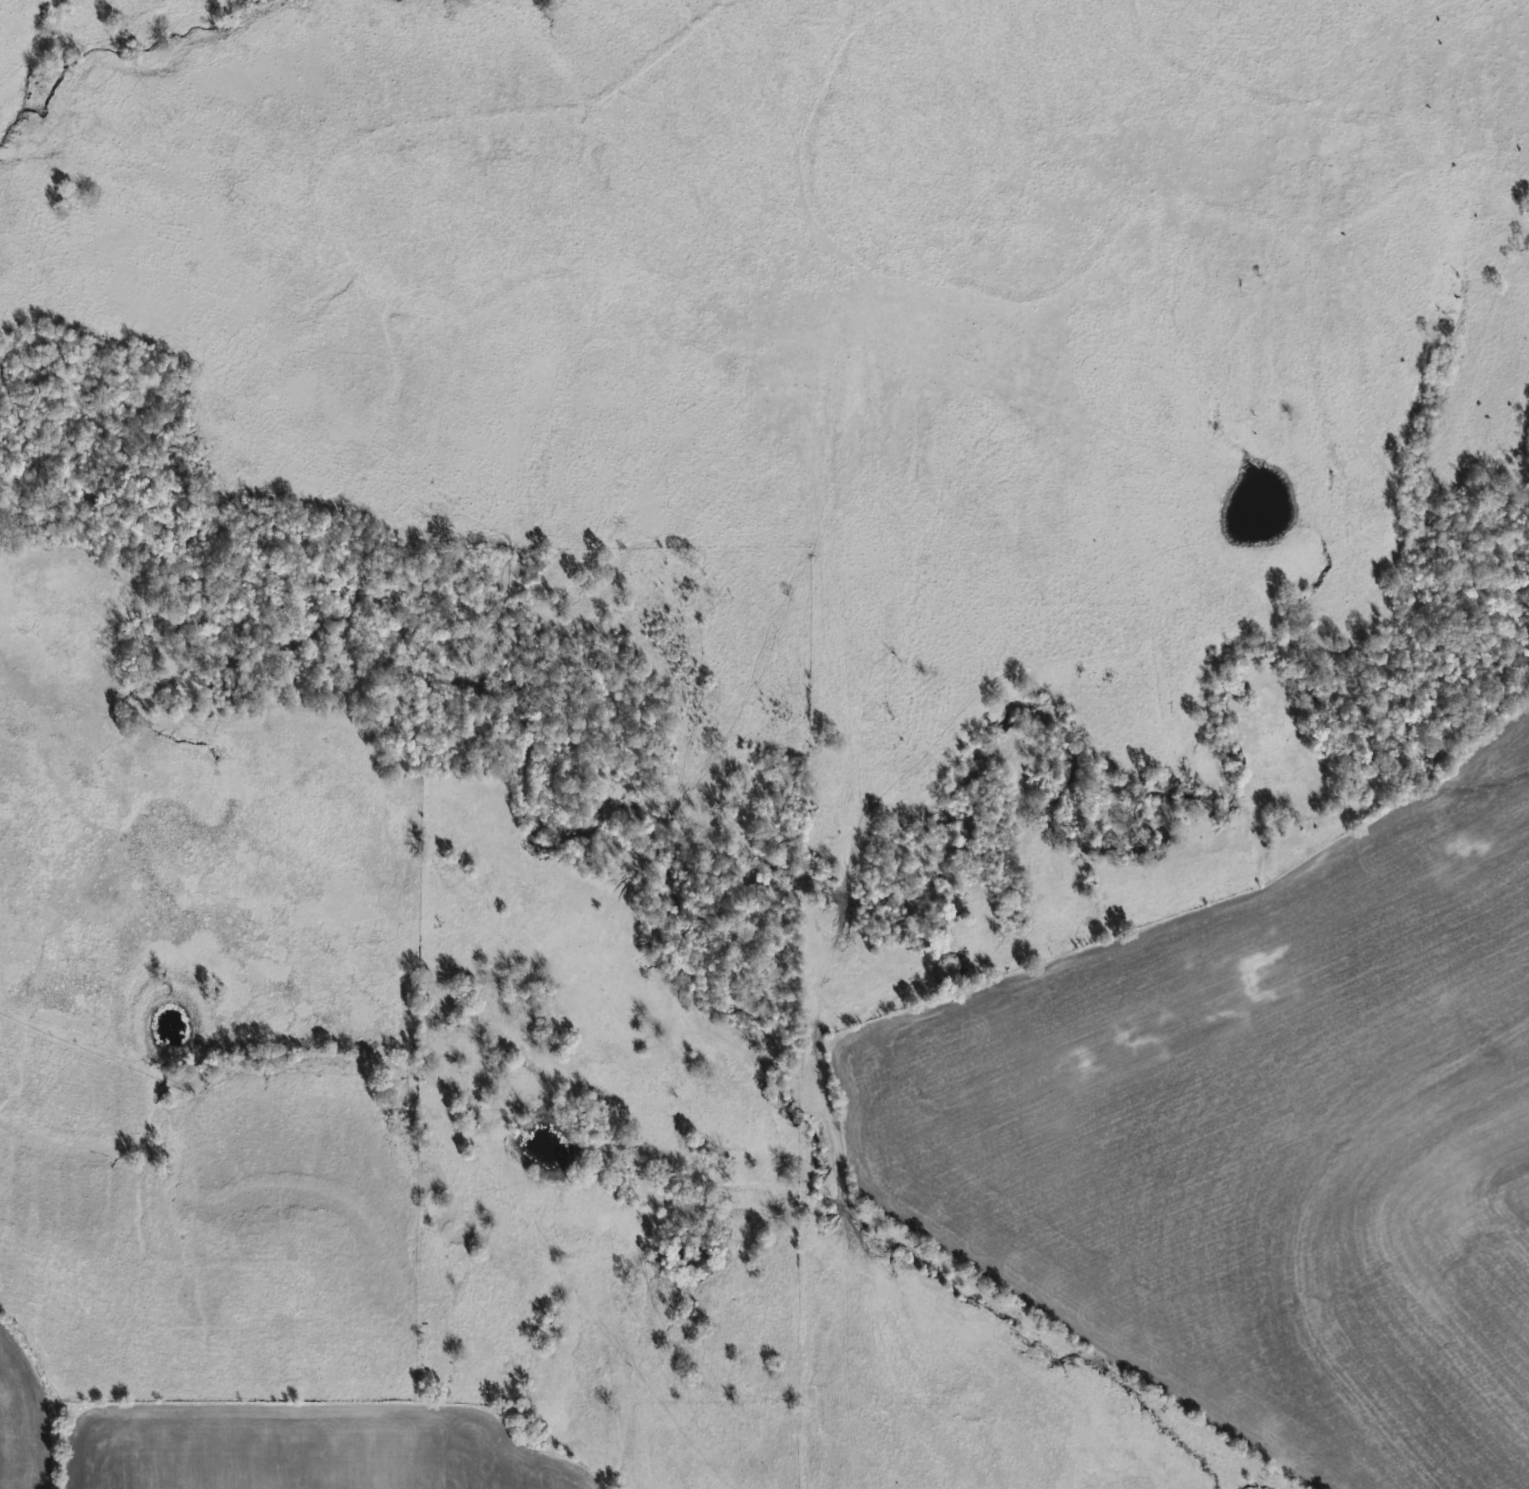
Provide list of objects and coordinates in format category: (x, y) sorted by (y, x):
crop: (1260, 1139)

